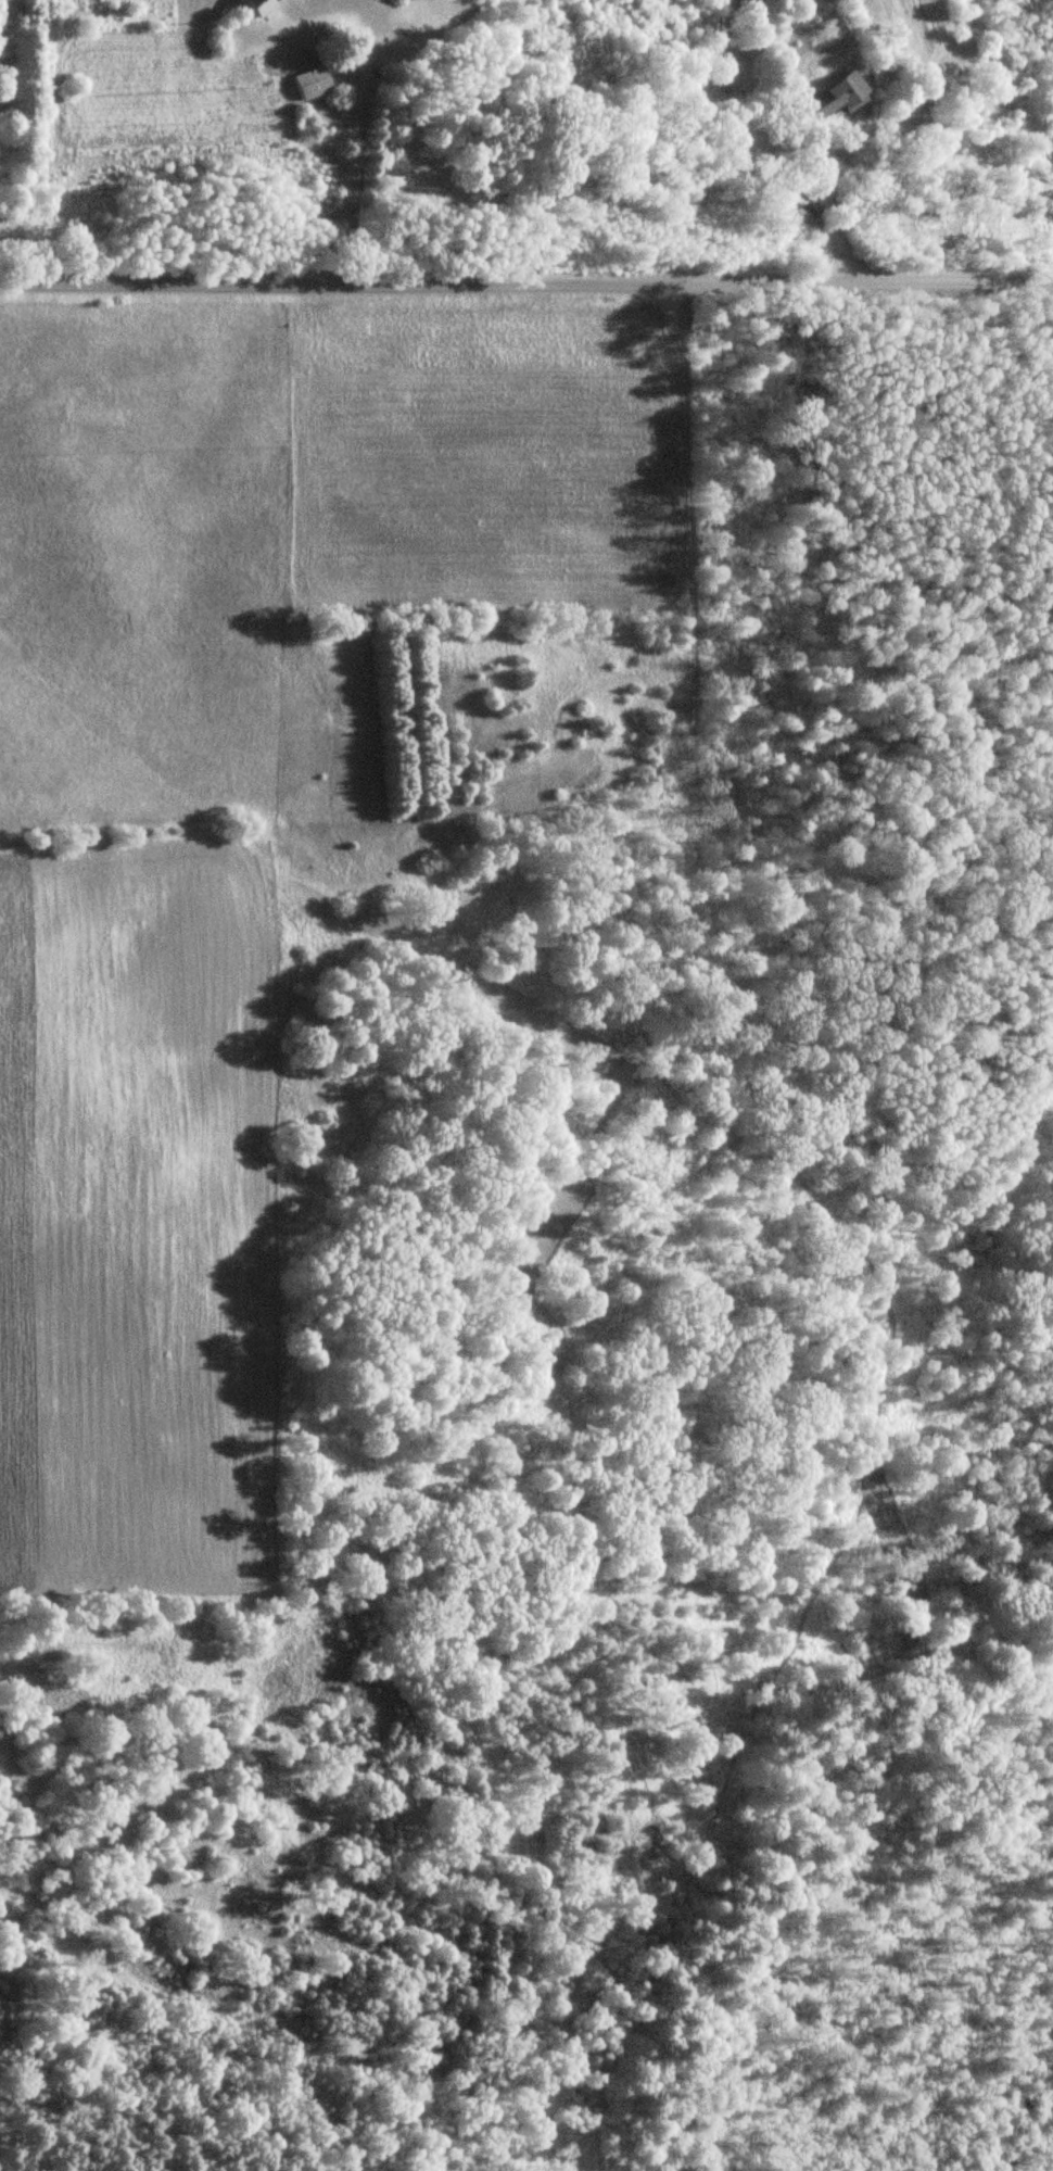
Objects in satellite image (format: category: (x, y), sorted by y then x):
building: (5, 5)
building: (373, 33)
building: (307, 84)
building: (828, 96)
road: (370, 135)
road: (525, 281)

